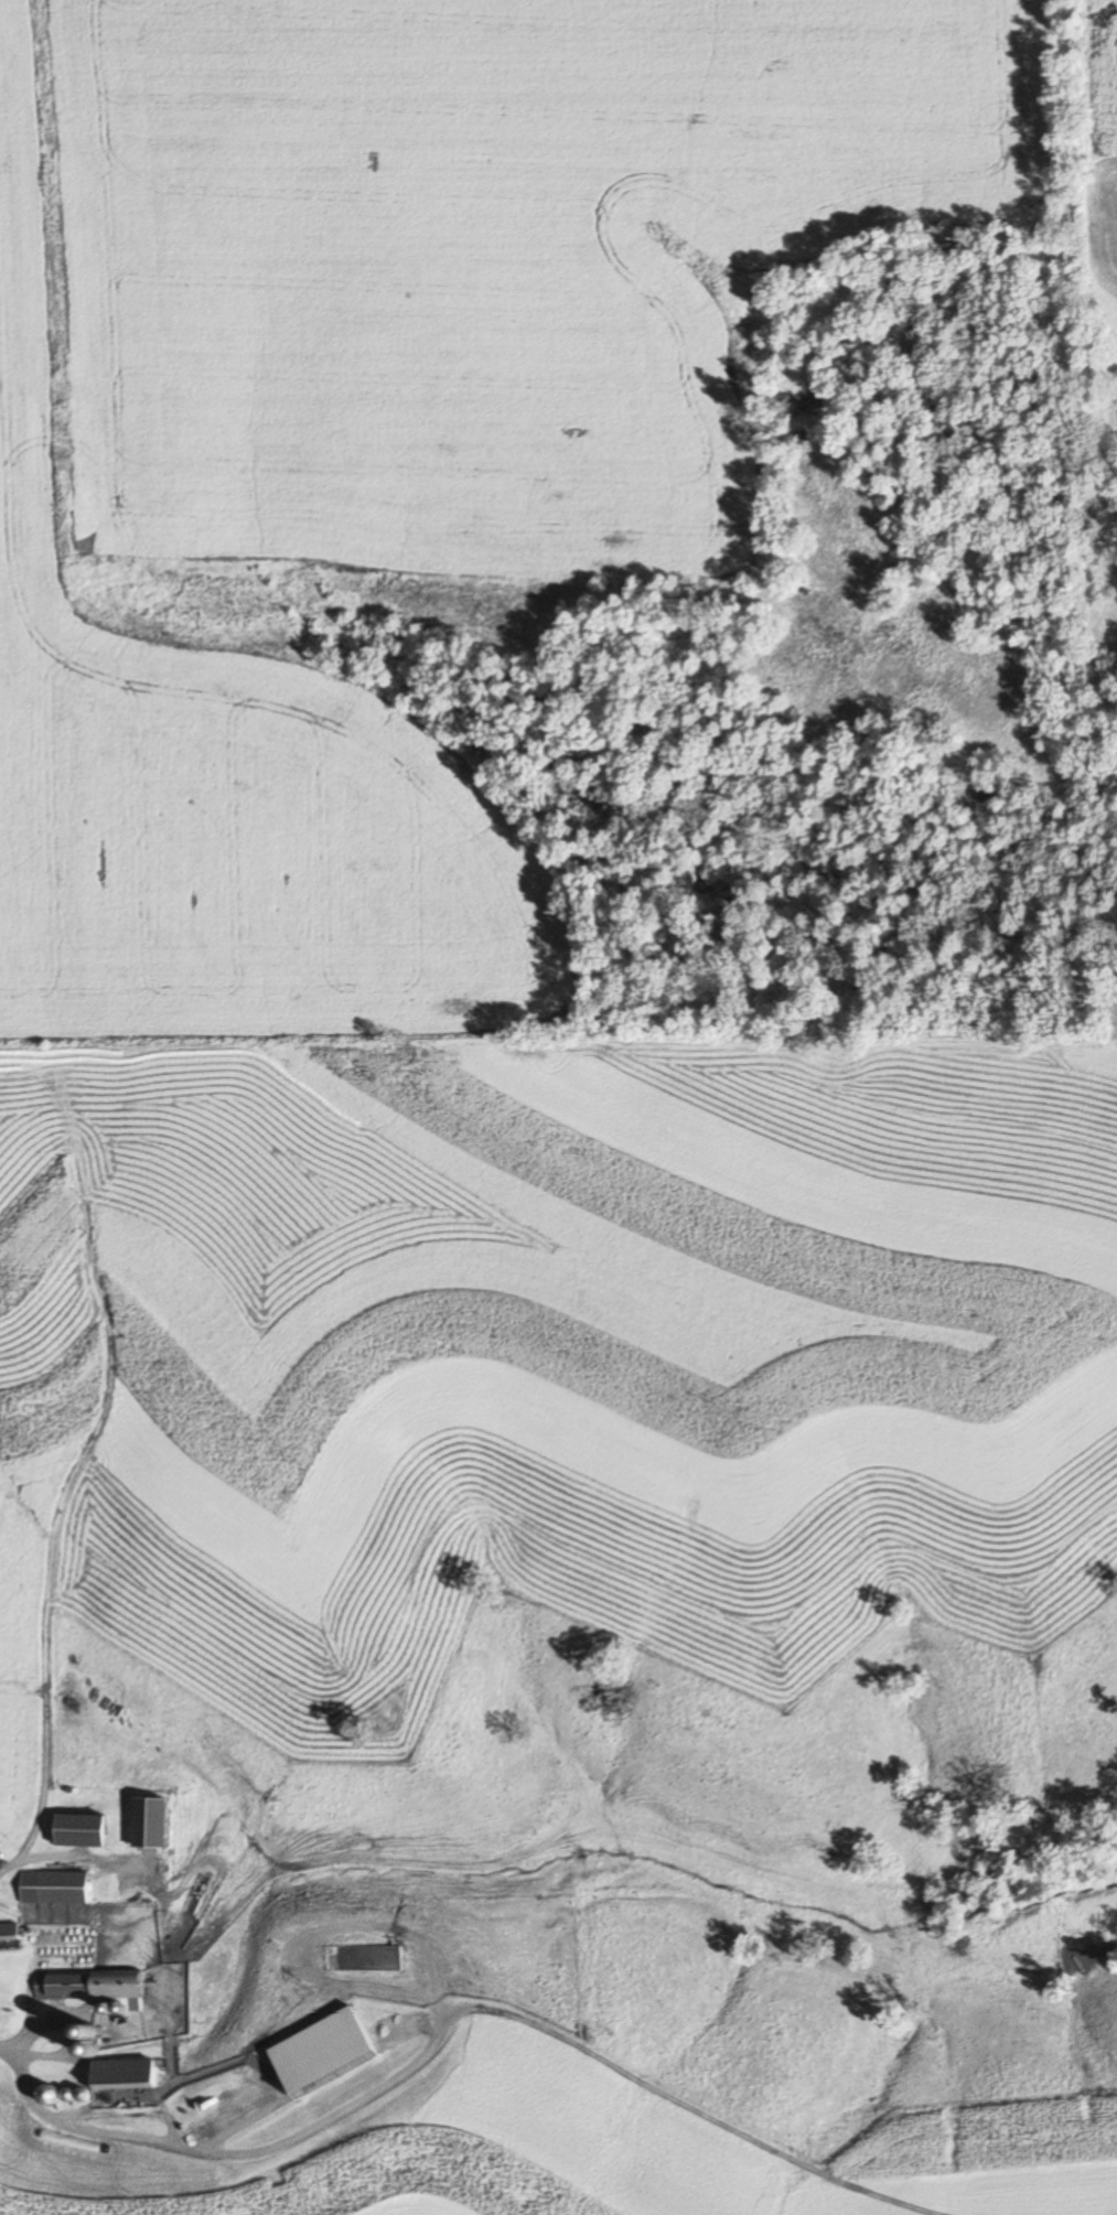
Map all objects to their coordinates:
road: (44, 1774)
building: (80, 1829)
building: (55, 1888)
building: (9, 1932)
building: (93, 1987)
road: (67, 2032)
road: (6, 2044)
building: (122, 2073)
building: (44, 2097)

